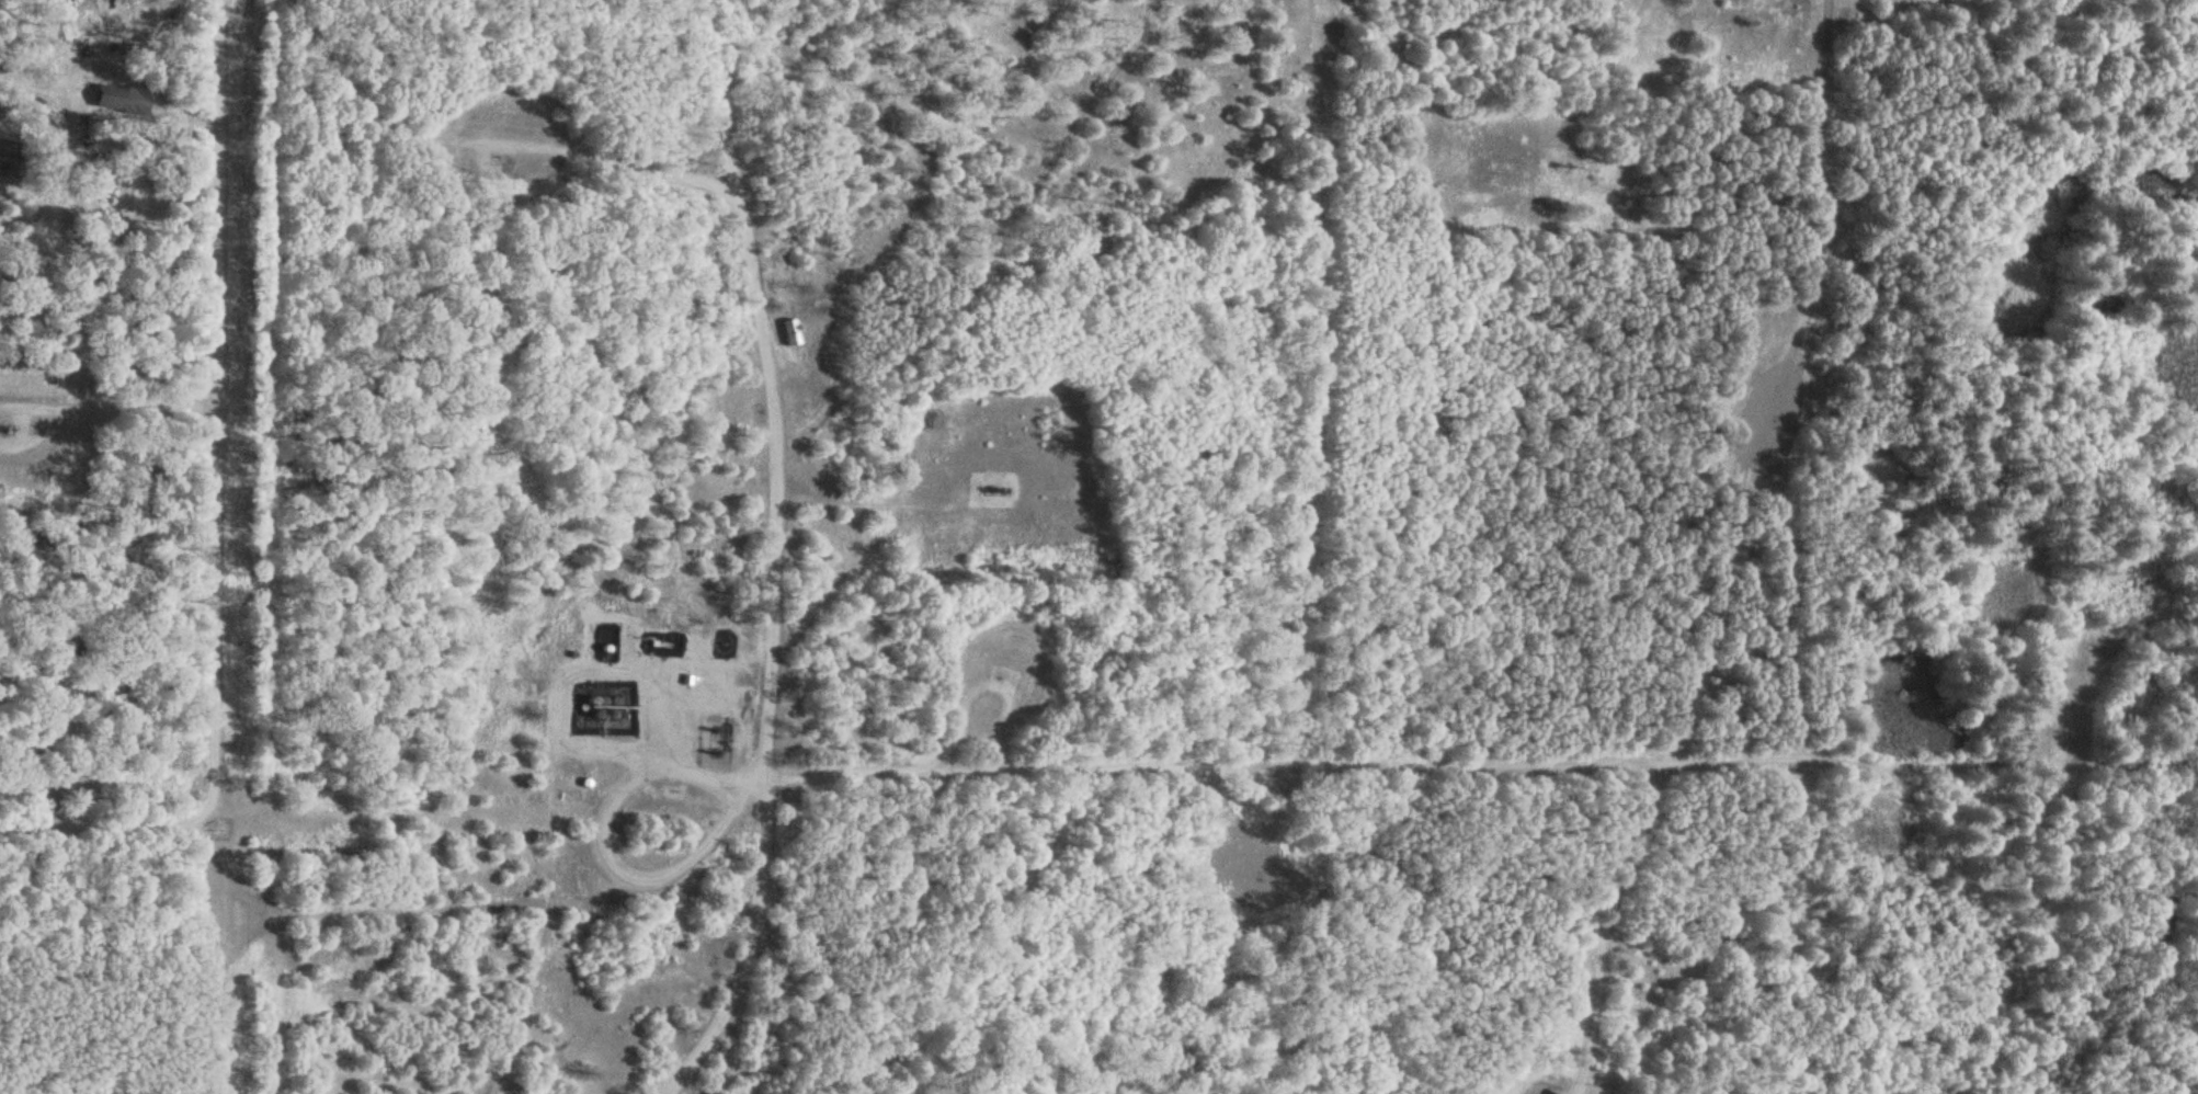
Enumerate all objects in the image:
road: (1403, 83)
building: (9, 143)
road: (1013, 252)
building: (789, 333)
road: (1769, 383)
petroleum well: (992, 492)
road: (213, 547)
road: (781, 555)
road: (1178, 776)
road: (104, 828)
road: (251, 888)
road: (225, 1082)

